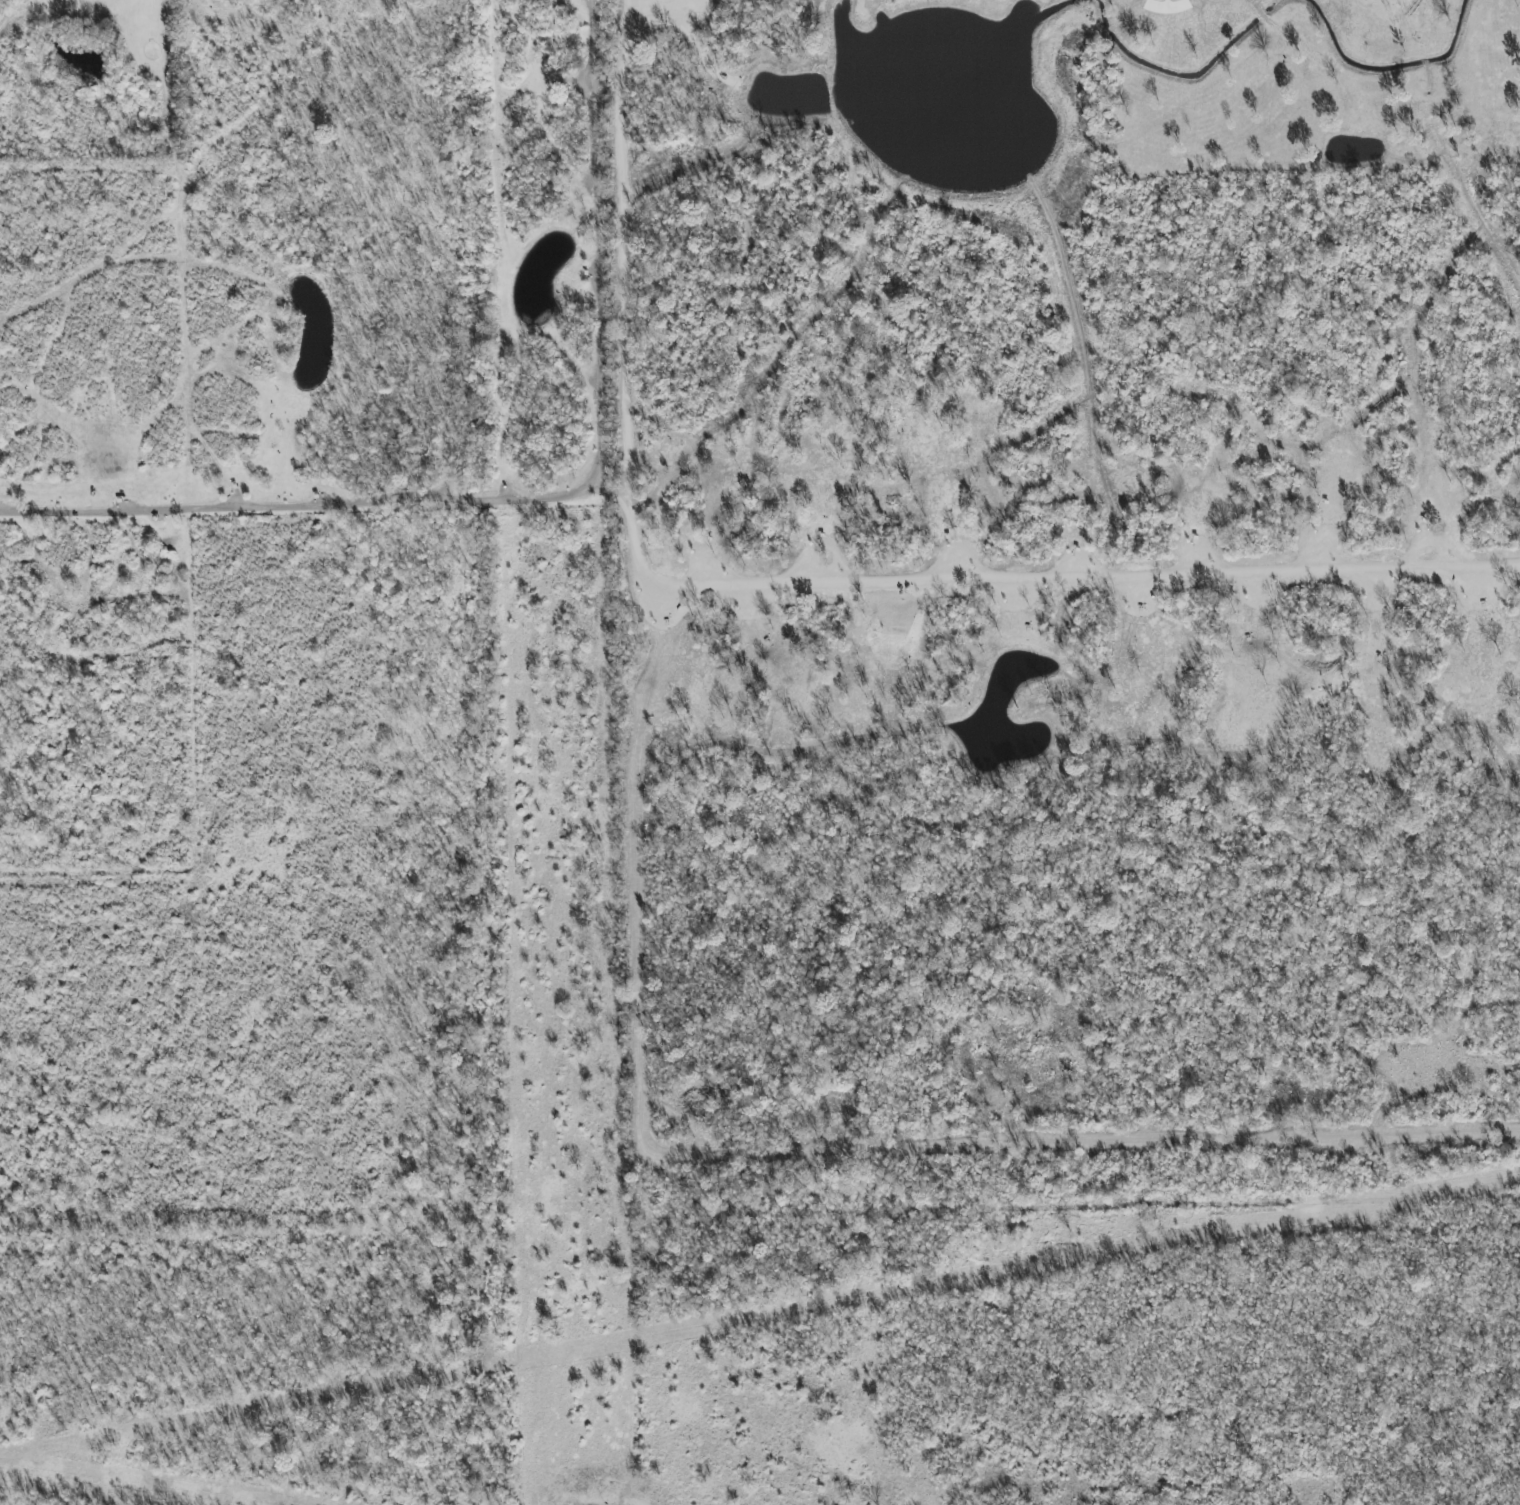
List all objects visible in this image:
road: (600, 242)
road: (303, 510)
road: (1023, 584)

